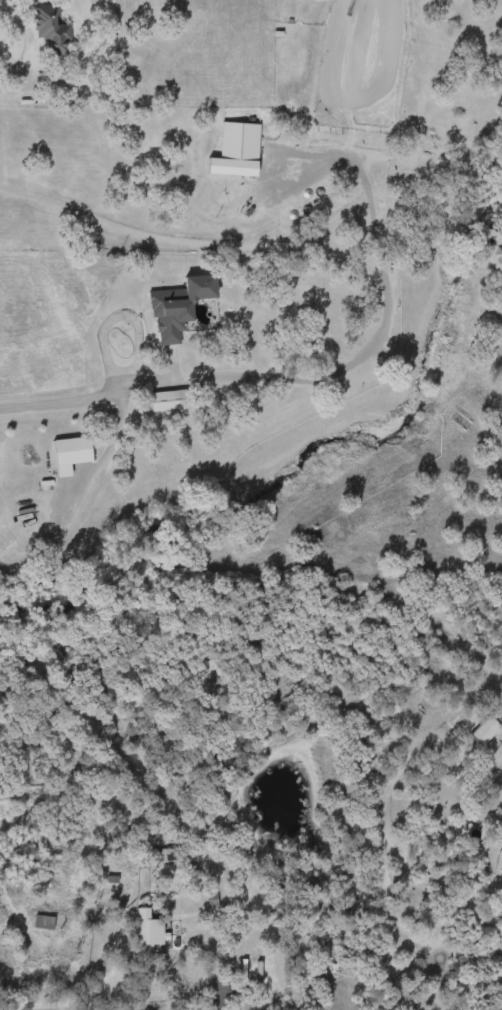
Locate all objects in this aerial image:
building: (48, 29)
building: (236, 140)
road: (263, 169)
road: (167, 240)
building: (164, 313)
road: (118, 319)
road: (294, 379)
building: (164, 400)
building: (178, 433)
building: (67, 453)
building: (477, 728)
building: (501, 810)
building: (501, 823)
building: (40, 921)
building: (144, 932)
building: (221, 995)
road: (77, 1004)

